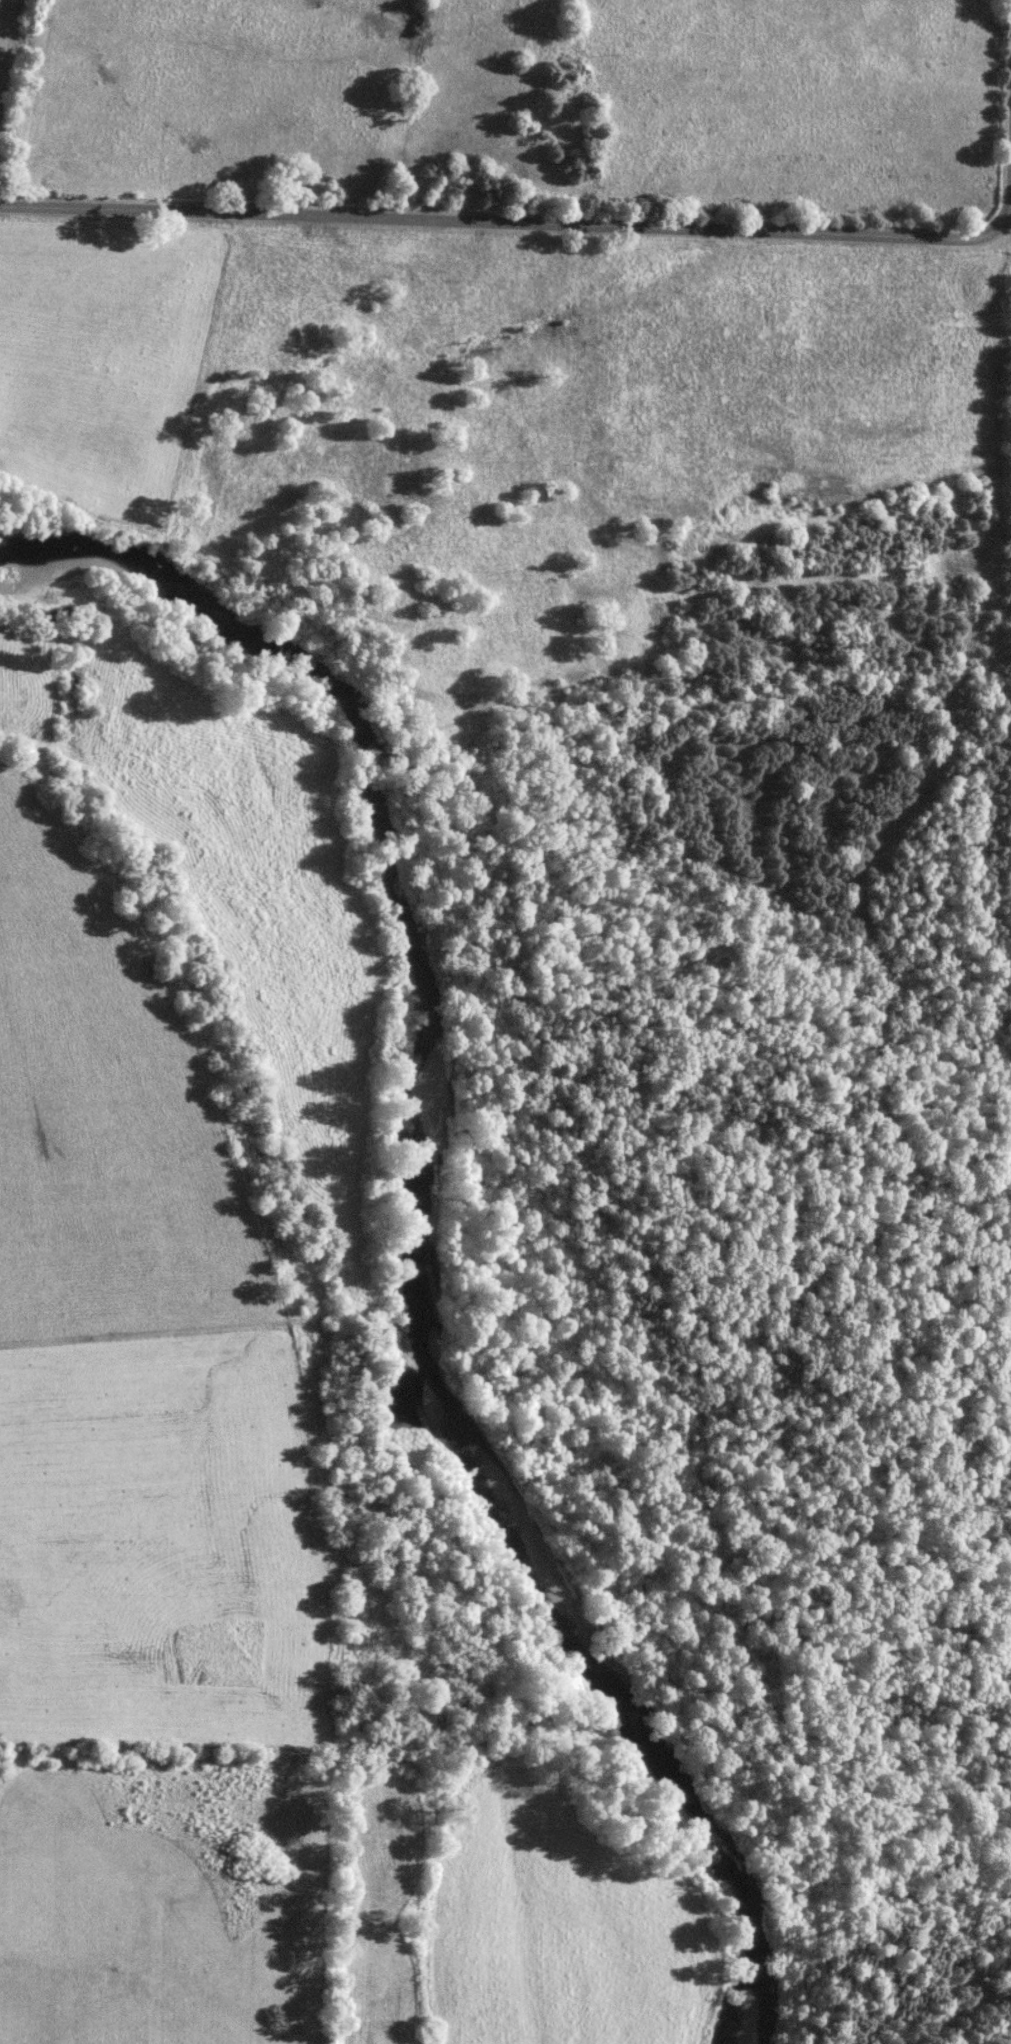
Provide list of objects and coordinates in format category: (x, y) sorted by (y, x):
road: (545, 224)
road: (1007, 227)

